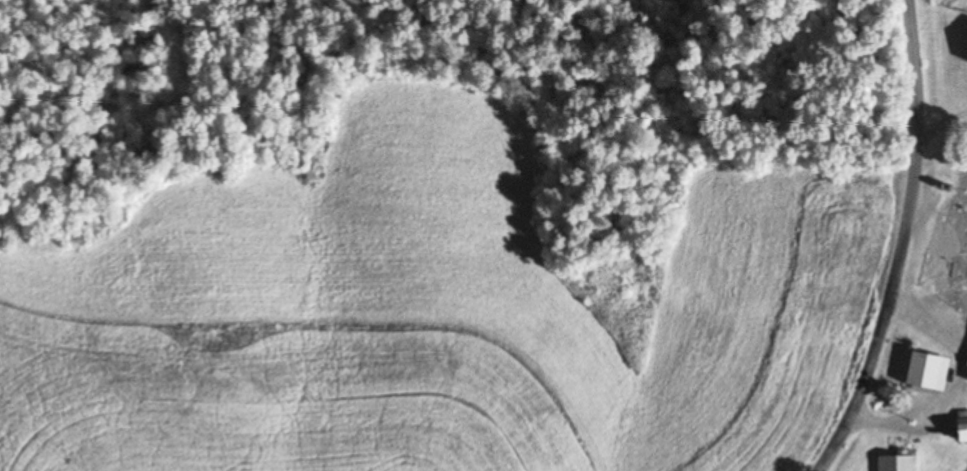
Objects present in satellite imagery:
building: (965, 61)
road: (901, 243)
building: (921, 374)
building: (956, 431)
building: (890, 463)

